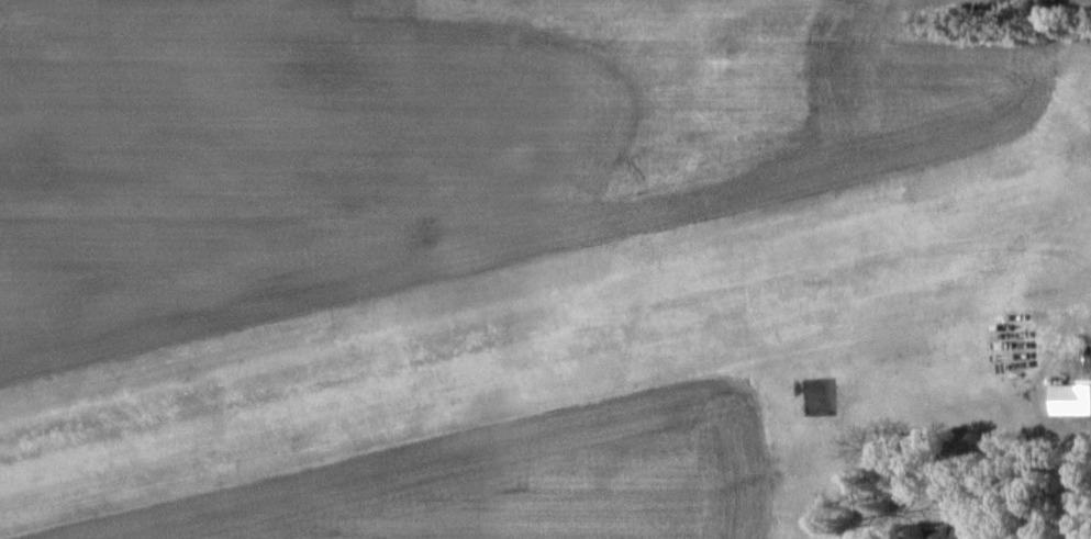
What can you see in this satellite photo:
airport runway: (545, 329)
building: (1069, 400)
road: (1086, 433)
road: (960, 447)
road: (1045, 487)
building: (946, 532)

